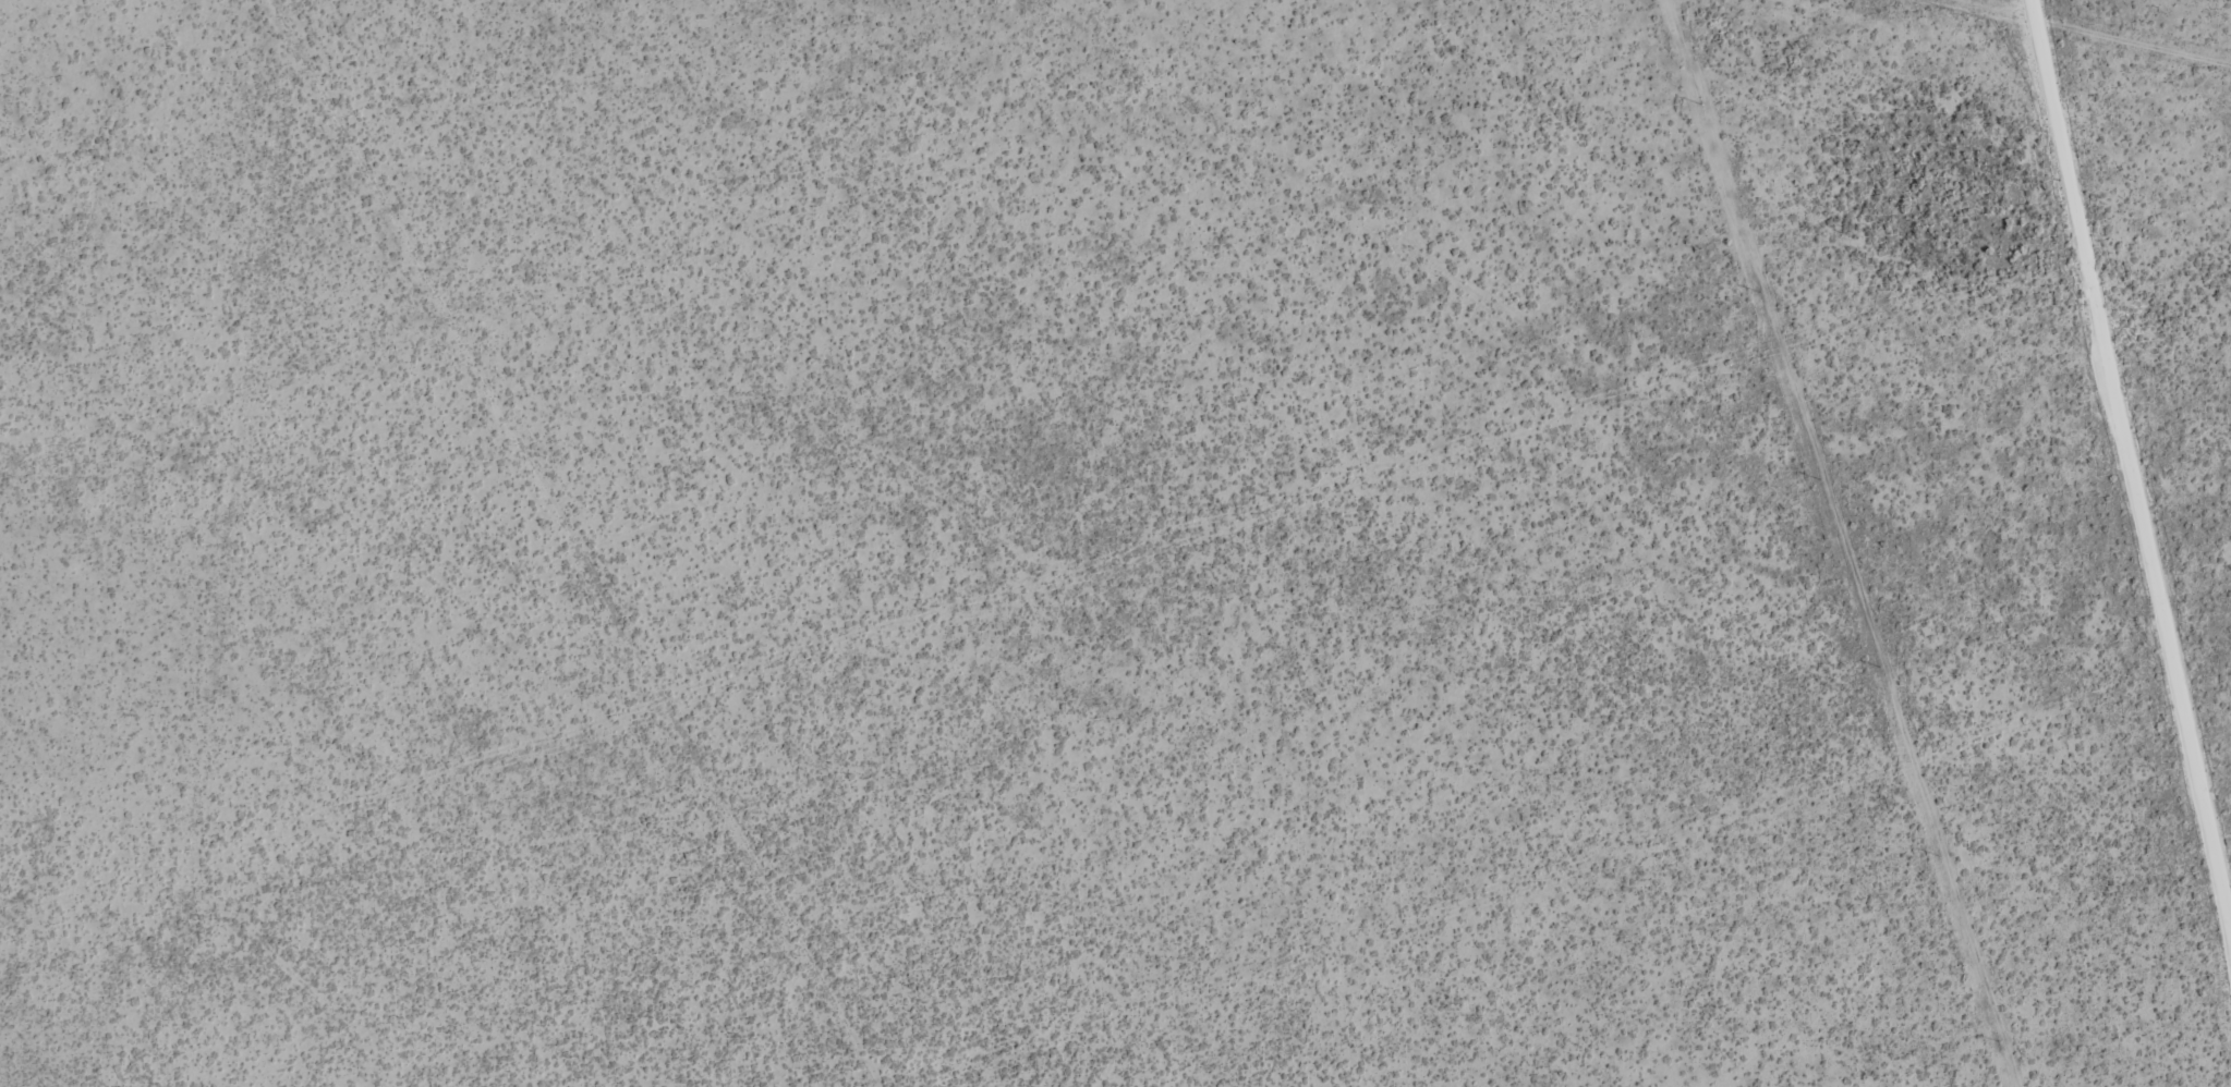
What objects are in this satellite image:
road: (2034, 45)
road: (2127, 471)

